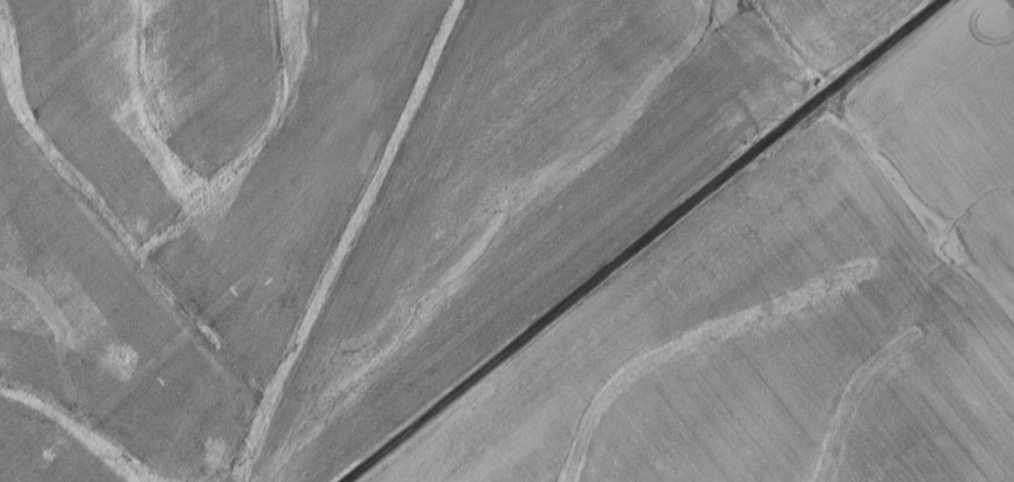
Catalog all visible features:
road: (641, 241)

